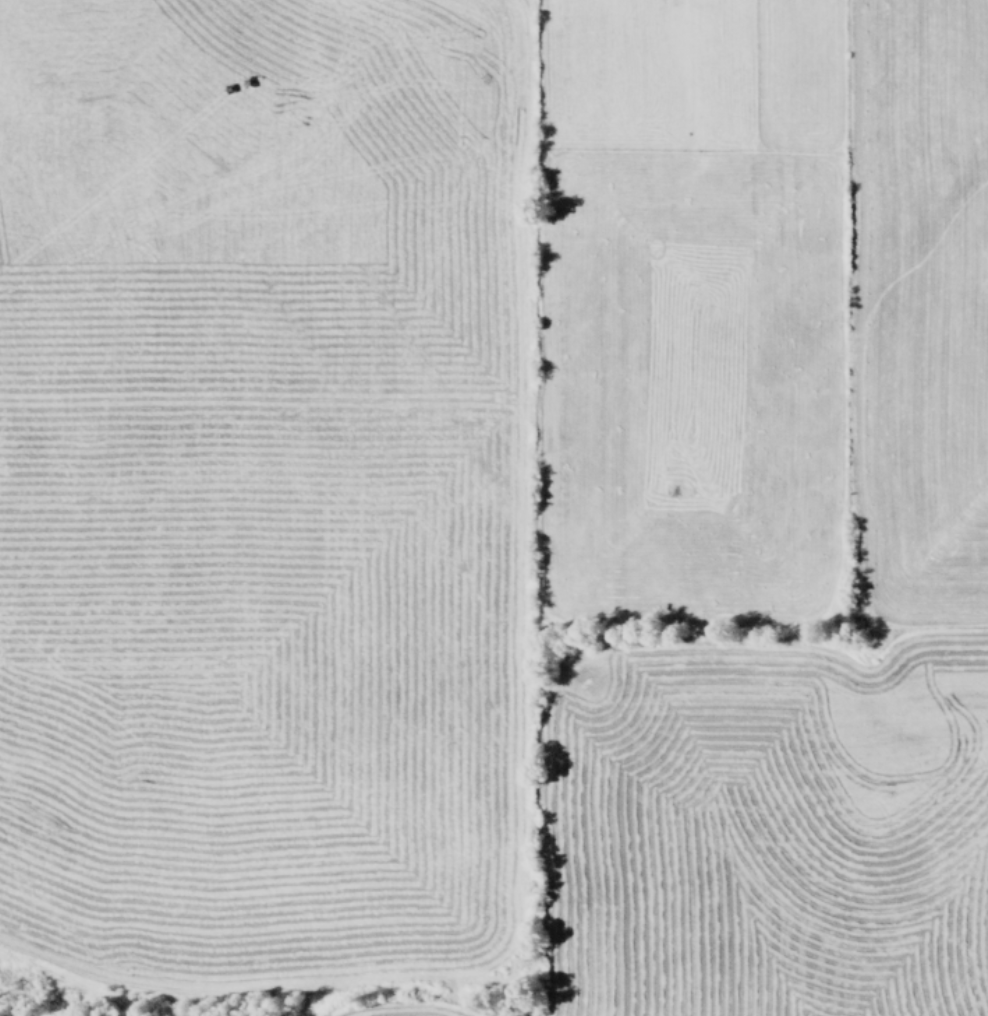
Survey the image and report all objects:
crop: (494, 508)

